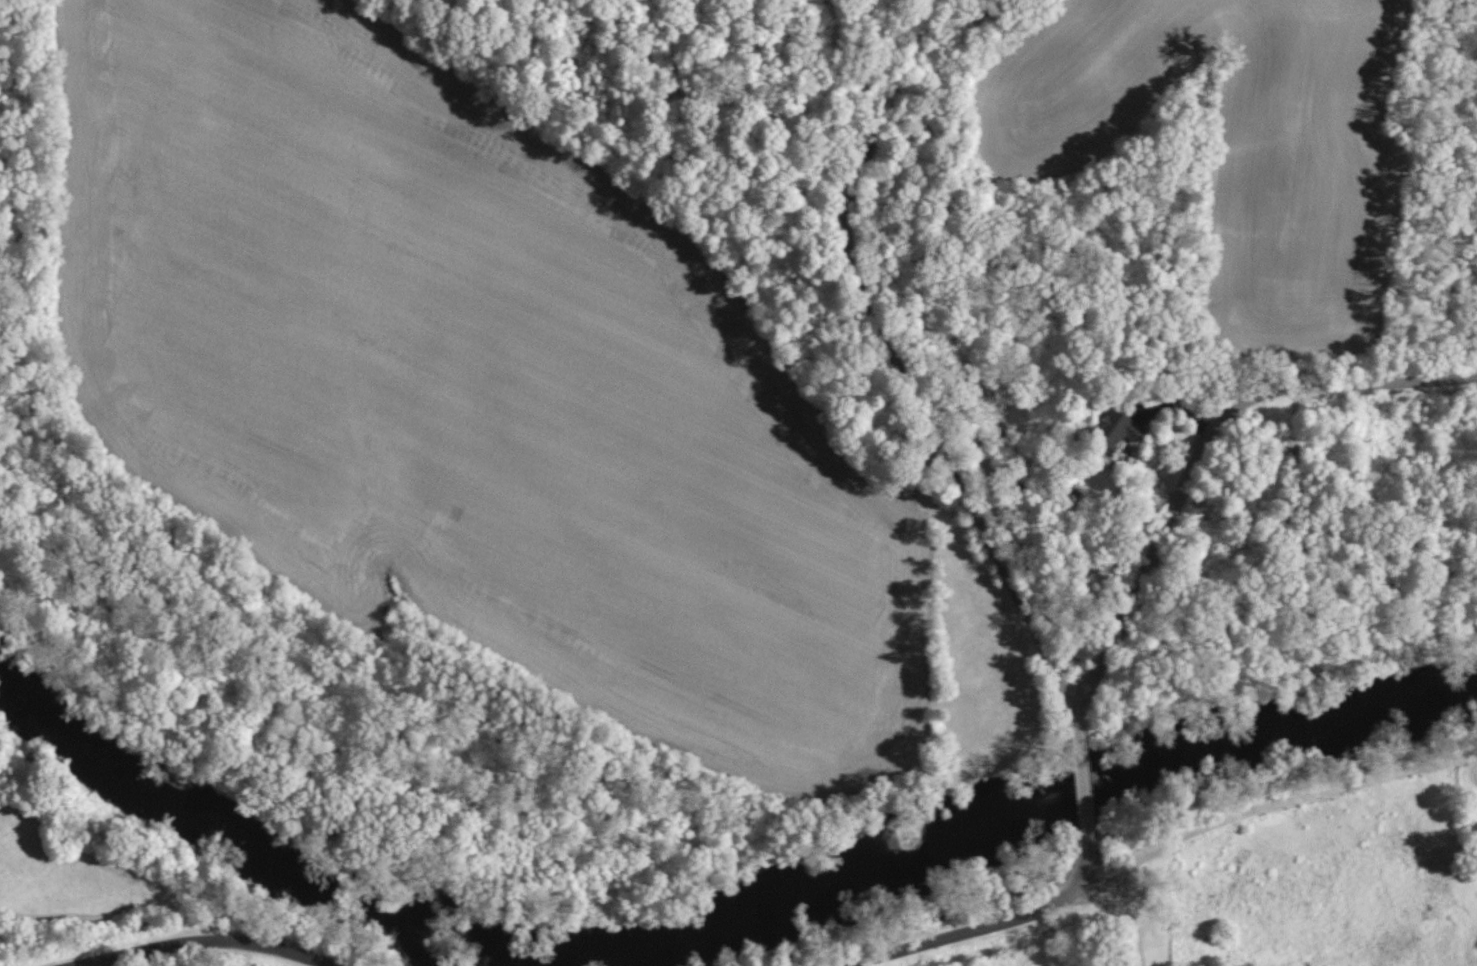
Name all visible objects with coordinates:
road: (898, 364)
building: (1119, 427)
road: (1187, 478)
road: (1085, 797)
road: (1271, 805)
river: (718, 916)
road: (1127, 919)
road: (1004, 923)
road: (205, 942)
road: (87, 965)

